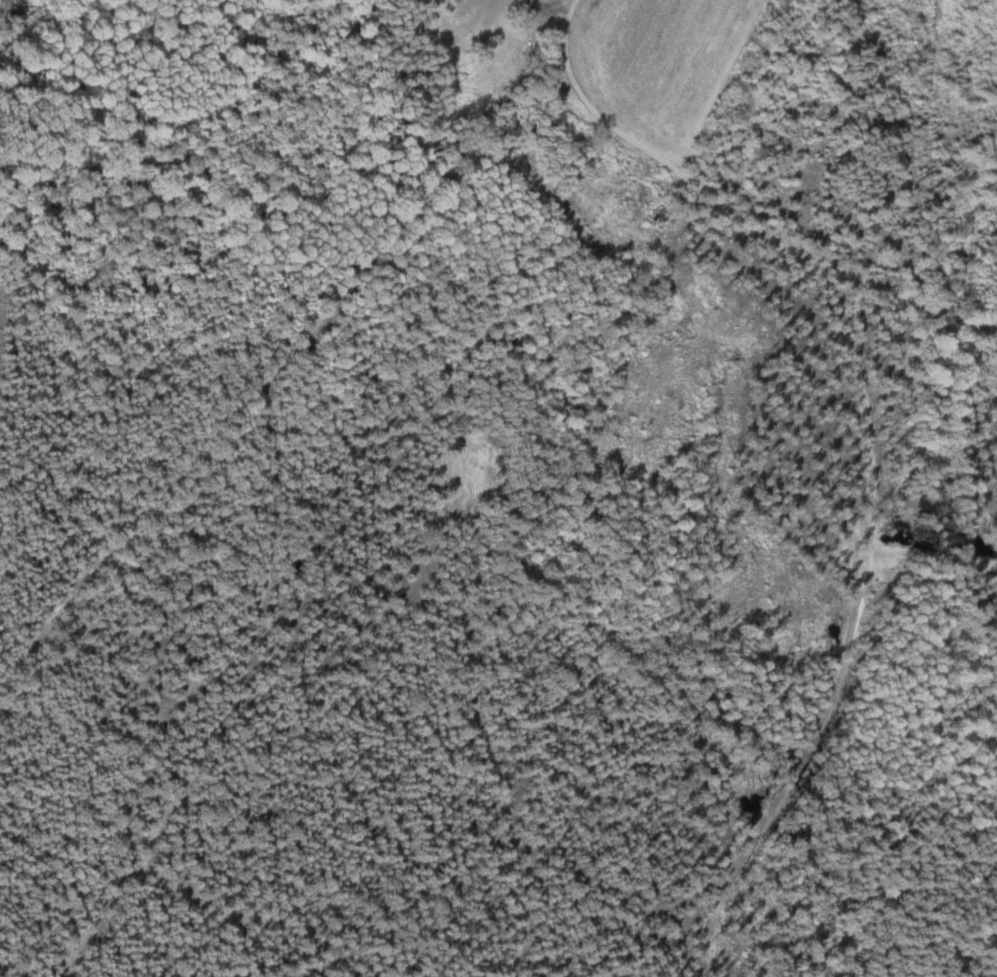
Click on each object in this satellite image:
road: (593, 33)
road: (701, 173)

